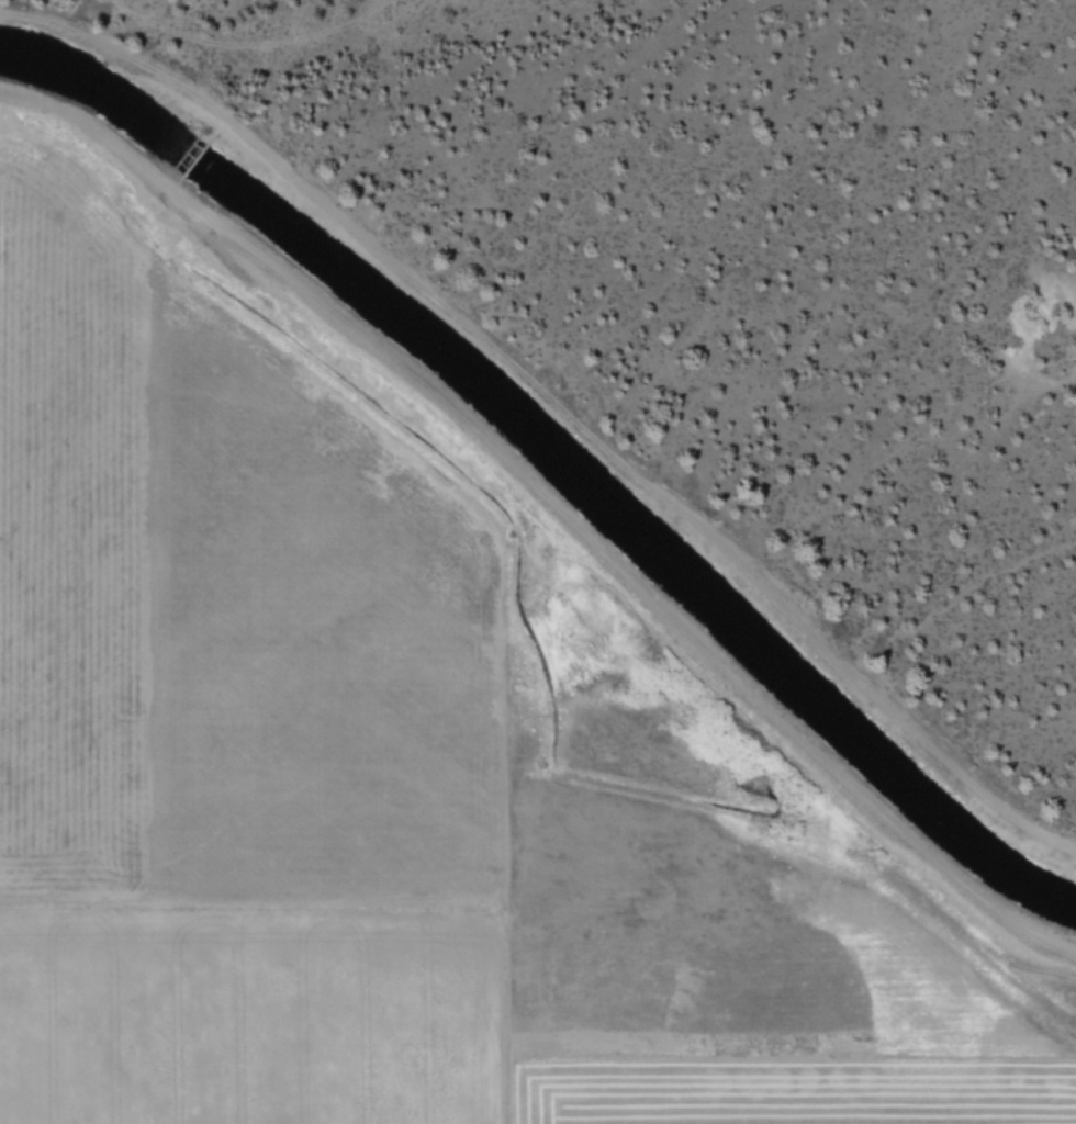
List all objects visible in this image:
road: (557, 497)
crop: (429, 716)

